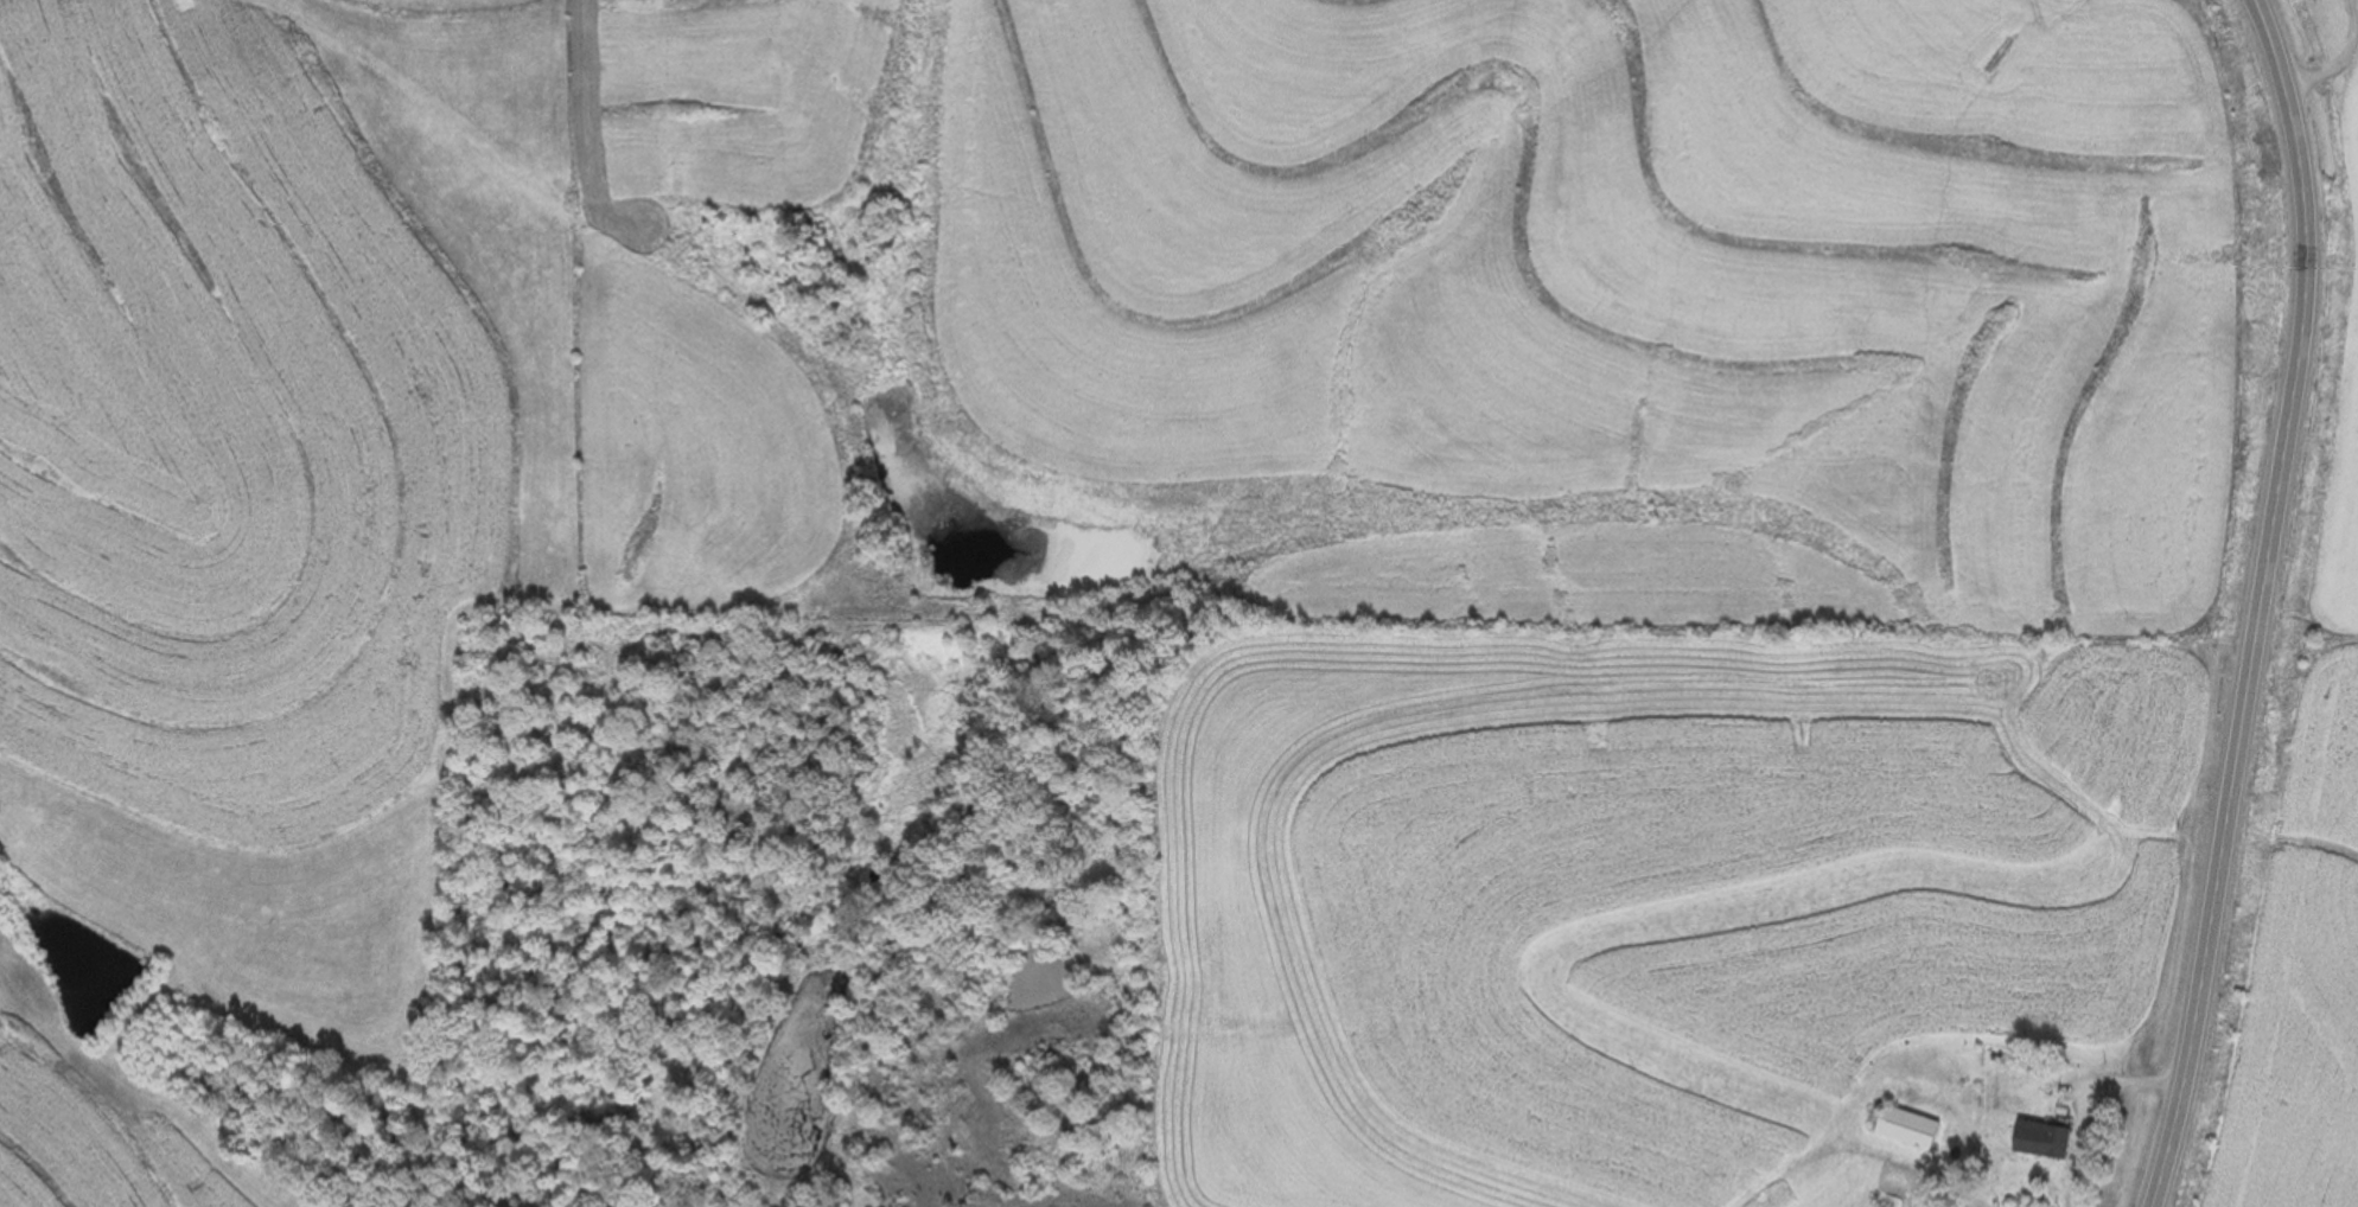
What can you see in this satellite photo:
road: (2258, 603)
building: (1904, 1130)
building: (2038, 1143)

